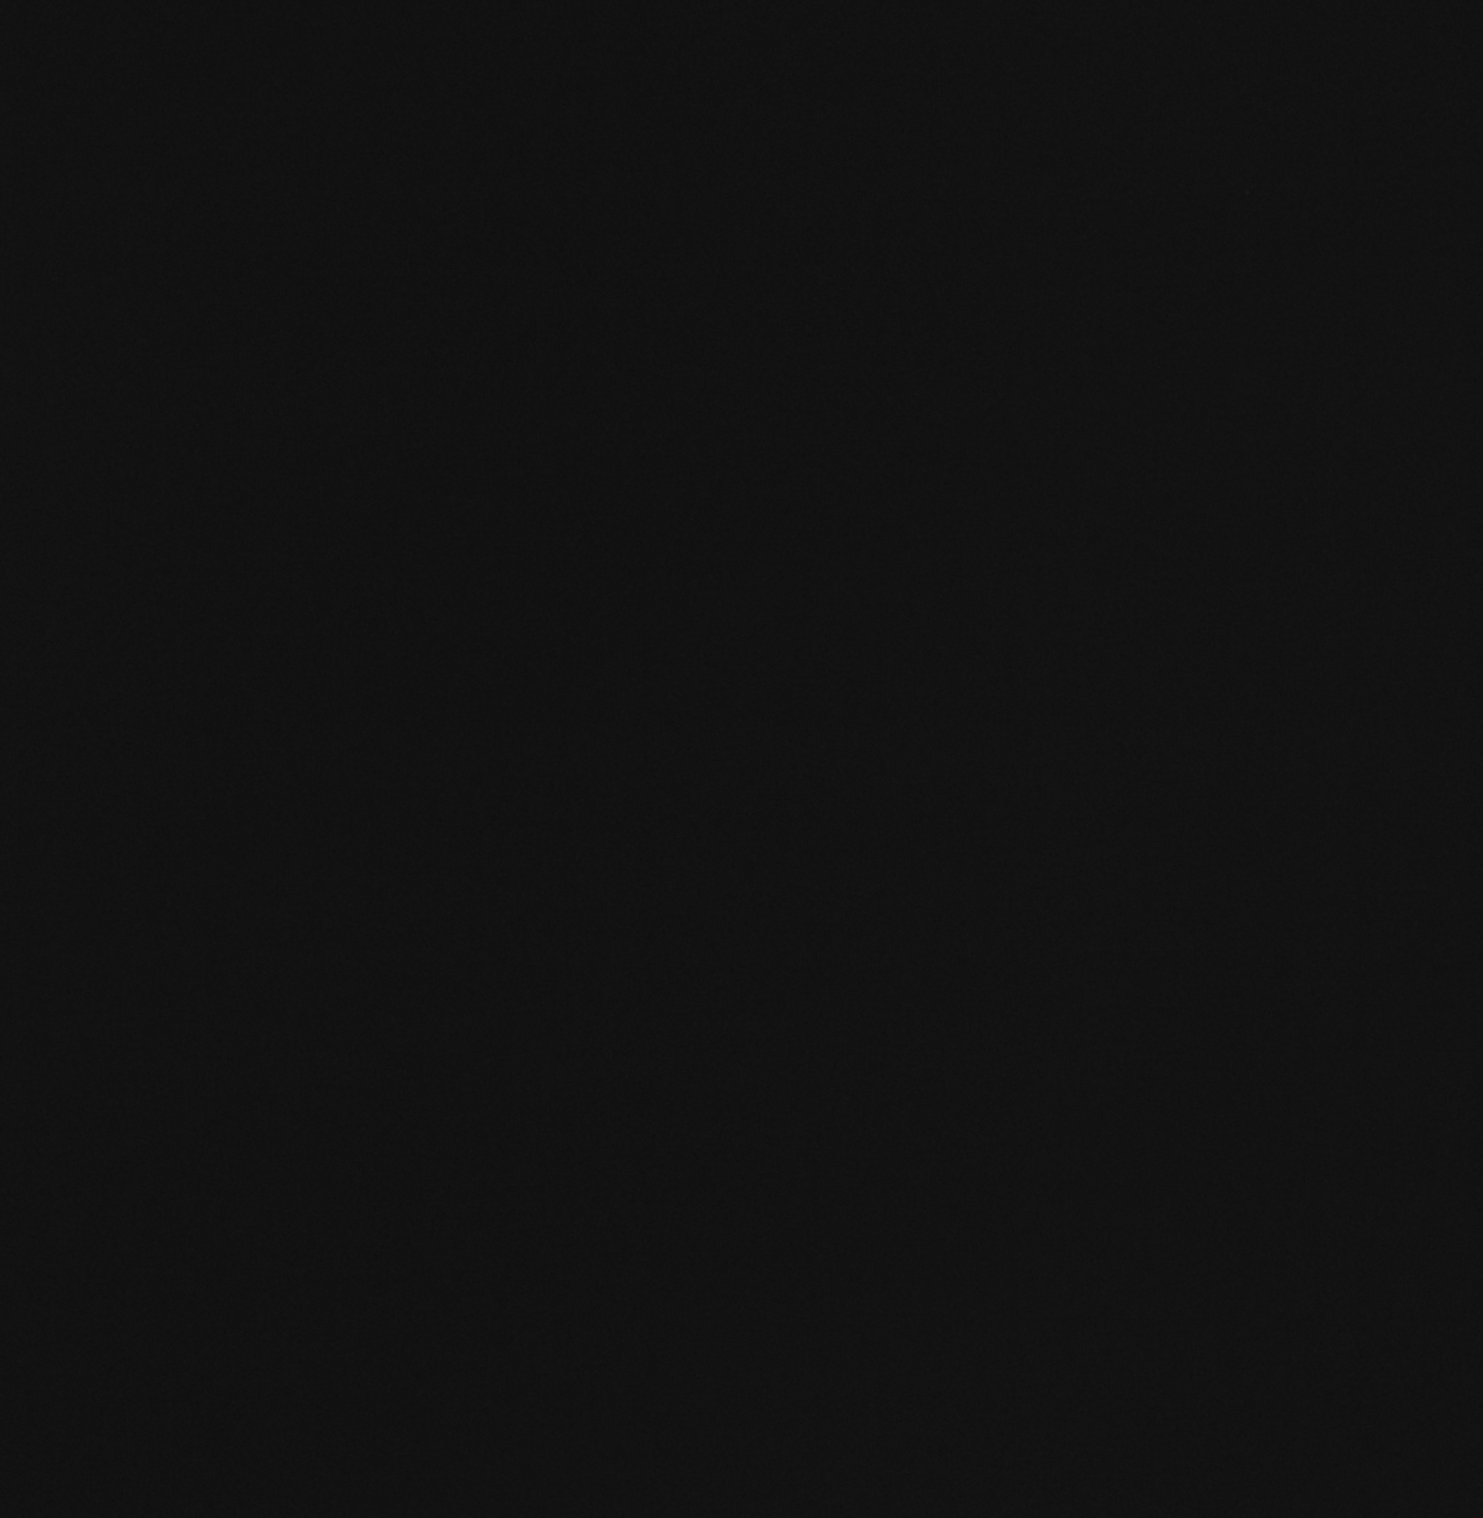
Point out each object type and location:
river: (102, 399)

